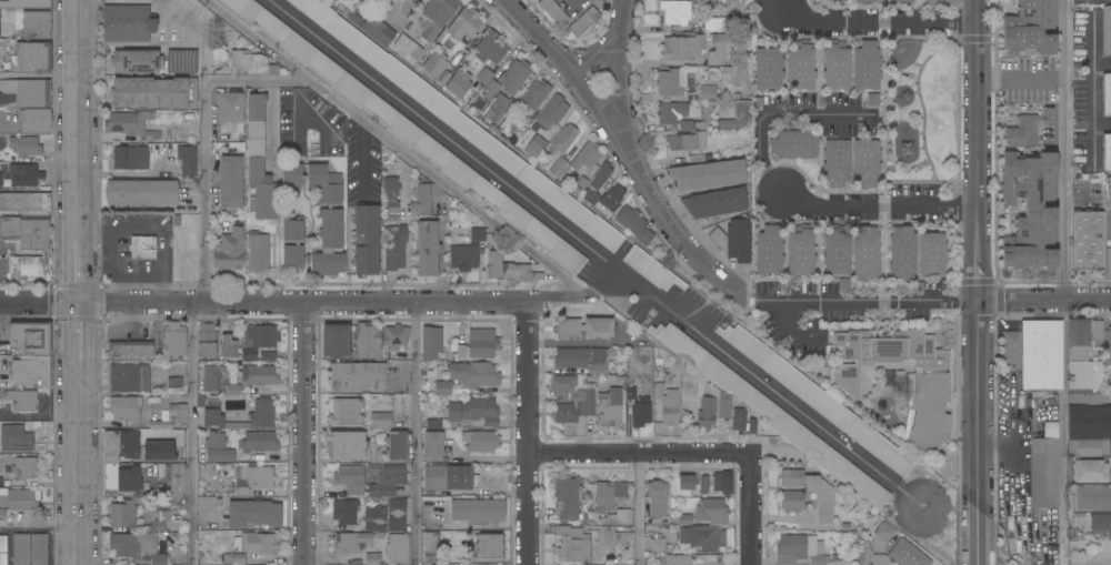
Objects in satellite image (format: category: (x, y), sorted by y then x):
road: (620, 1)
building: (837, 1)
building: (863, 1)
building: (902, 1)
building: (932, 2)
building: (24, 4)
road: (771, 6)
building: (553, 11)
building: (680, 11)
building: (438, 16)
building: (583, 22)
road: (874, 22)
building: (127, 23)
building: (464, 24)
building: (714, 24)
building: (36, 26)
building: (370, 26)
building: (1030, 28)
building: (1107, 31)
building: (744, 39)
road: (605, 42)
building: (719, 42)
building: (408, 47)
building: (490, 48)
building: (682, 48)
building: (32, 58)
building: (181, 60)
building: (133, 62)
building: (436, 62)
building: (248, 64)
building: (835, 65)
building: (801, 67)
building: (867, 67)
building: (768, 69)
building: (273, 70)
road: (39, 75)
building: (484, 77)
building: (514, 77)
road: (618, 78)
building: (671, 82)
building: (459, 83)
building: (153, 92)
building: (24, 93)
building: (708, 93)
building: (487, 94)
building: (534, 94)
building: (1107, 94)
building: (230, 108)
building: (497, 109)
building: (552, 112)
building: (677, 112)
road: (774, 114)
building: (36, 120)
building: (457, 120)
road: (271, 122)
building: (732, 123)
road: (78, 124)
building: (130, 125)
building: (690, 127)
road: (1103, 127)
building: (408, 133)
building: (1021, 133)
building: (562, 140)
building: (685, 141)
road: (204, 142)
building: (793, 145)
building: (24, 147)
road: (399, 147)
building: (534, 147)
road: (622, 147)
road: (1064, 150)
building: (1107, 153)
building: (585, 158)
building: (130, 159)
building: (187, 160)
building: (837, 163)
building: (867, 163)
building: (259, 165)
building: (559, 168)
building: (0, 175)
building: (24, 175)
road: (126, 175)
building: (707, 175)
building: (333, 179)
building: (231, 182)
building: (580, 184)
building: (595, 184)
building: (390, 189)
building: (141, 192)
building: (612, 198)
building: (422, 200)
building: (24, 202)
building: (714, 204)
road: (878, 210)
building: (1031, 211)
building: (1108, 214)
building: (321, 216)
building: (634, 225)
building: (733, 240)
building: (367, 241)
building: (1088, 241)
building: (297, 244)
building: (143, 248)
building: (28, 249)
building: (394, 249)
building: (428, 249)
building: (230, 250)
building: (769, 251)
building: (259, 252)
building: (467, 252)
building: (801, 252)
building: (837, 252)
building: (865, 253)
building: (902, 253)
building: (931, 253)
road: (594, 254)
road: (978, 254)
building: (1108, 263)
building: (507, 269)
building: (651, 270)
road: (78, 275)
railway: (647, 282)
road: (603, 283)
road: (558, 297)
road: (882, 300)
road: (1044, 301)
road: (263, 302)
road: (782, 322)
road: (78, 326)
building: (568, 329)
building: (598, 329)
building: (1098, 334)
building: (262, 336)
building: (396, 336)
building: (28, 340)
building: (207, 341)
building: (336, 341)
building: (173, 342)
building: (368, 342)
building: (431, 343)
building: (482, 344)
building: (228, 346)
building: (1107, 346)
building: (131, 351)
building: (1034, 354)
building: (250, 355)
building: (571, 357)
building: (1081, 359)
building: (599, 362)
building: (33, 370)
building: (474, 374)
building: (259, 376)
building: (357, 376)
road: (527, 376)
building: (130, 379)
building: (211, 379)
building: (174, 383)
building: (443, 389)
building: (230, 390)
building: (928, 392)
building: (1087, 396)
building: (571, 398)
building: (22, 400)
building: (818, 400)
building: (667, 403)
building: (724, 405)
building: (609, 407)
building: (126, 408)
building: (346, 412)
building: (473, 412)
building: (179, 413)
building: (707, 413)
building: (213, 414)
building: (262, 414)
building: (641, 414)
building: (770, 414)
building: (380, 420)
building: (739, 421)
building: (160, 425)
building: (751, 425)
building: (1089, 431)
road: (303, 433)
road: (191, 434)
road: (416, 434)
building: (20, 437)
building: (216, 441)
building: (258, 442)
building: (480, 442)
building: (346, 445)
building: (397, 445)
building: (433, 446)
building: (158, 451)
road: (639, 453)
building: (221, 455)
road: (79, 457)
building: (111, 461)
building: (24, 468)
building: (1091, 472)
building: (1043, 473)
building: (264, 478)
building: (177, 480)
building: (351, 480)
building: (447, 480)
building: (0, 481)
building: (388, 481)
building: (476, 483)
building: (687, 483)
building: (722, 483)
building: (703, 484)
building: (609, 495)
building: (824, 497)
building: (19, 498)
building: (567, 498)
building: (658, 498)
building: (1093, 498)
building: (792, 502)
building: (208, 504)
road: (528, 508)
road: (639, 508)
road: (750, 509)
building: (477, 511)
building: (344, 512)
building: (711, 512)
building: (1, 513)
building: (253, 514)
building: (397, 514)
building: (123, 515)
building: (623, 516)
building: (374, 518)
building: (685, 519)
building: (163, 521)
road: (40, 525)
building: (1100, 525)
building: (884, 532)
road: (975, 537)
building: (621, 538)
building: (701, 538)
building: (353, 543)
building: (3, 544)
building: (258, 544)
building: (573, 544)
building: (658, 545)
building: (489, 546)
building: (137, 547)
building: (431, 547)
building: (39, 548)
building: (399, 548)
building: (797, 548)
building: (21, 549)
road: (865, 554)
building: (907, 554)
building: (3, 558)
building: (234, 558)
building: (372, 558)
building: (693, 559)
building: (819, 559)
building: (881, 559)

